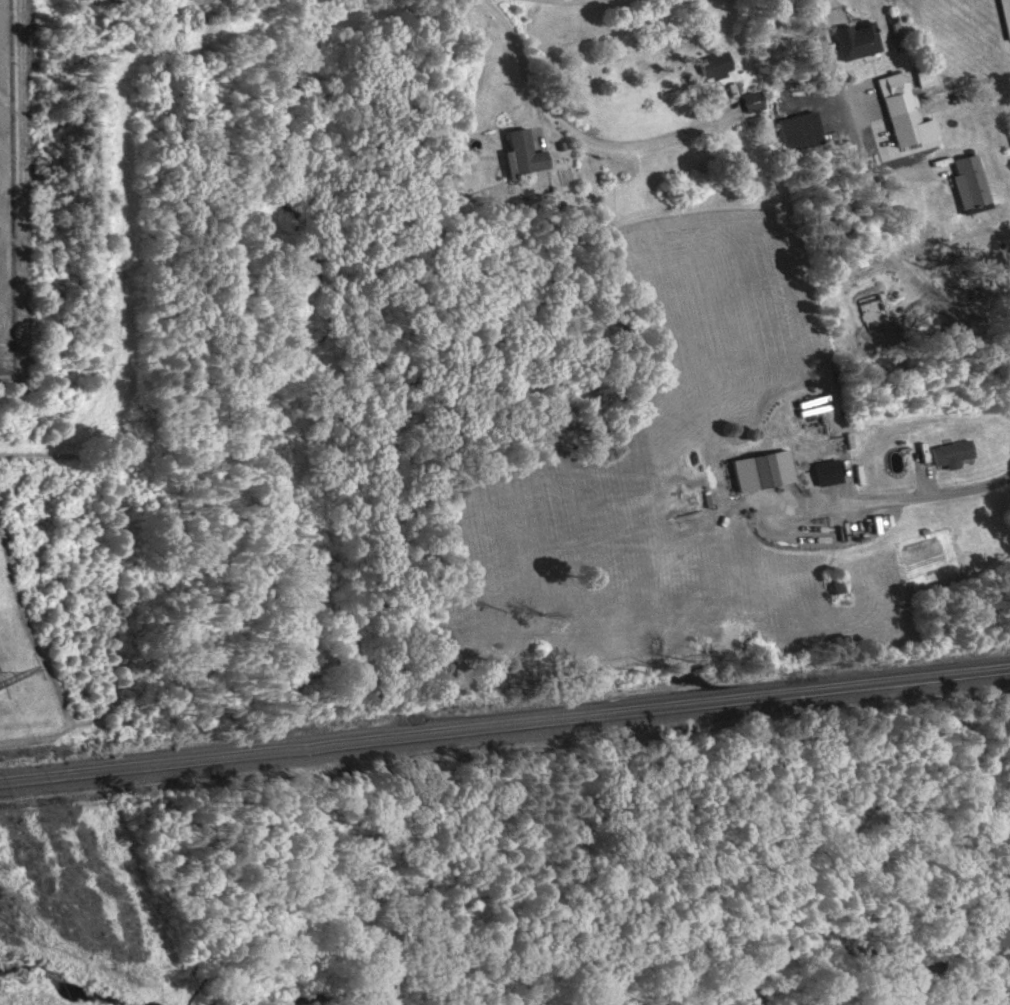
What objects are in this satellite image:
road: (812, 8)
building: (1004, 17)
building: (855, 40)
road: (510, 41)
building: (712, 65)
building: (923, 76)
building: (893, 94)
building: (751, 103)
building: (522, 153)
power substation: (7, 197)
building: (950, 454)
building: (761, 471)
building: (810, 476)
building: (834, 586)
railway: (504, 720)
railway: (504, 729)
river: (850, 946)
river: (61, 981)
river: (309, 999)
river: (683, 1000)

